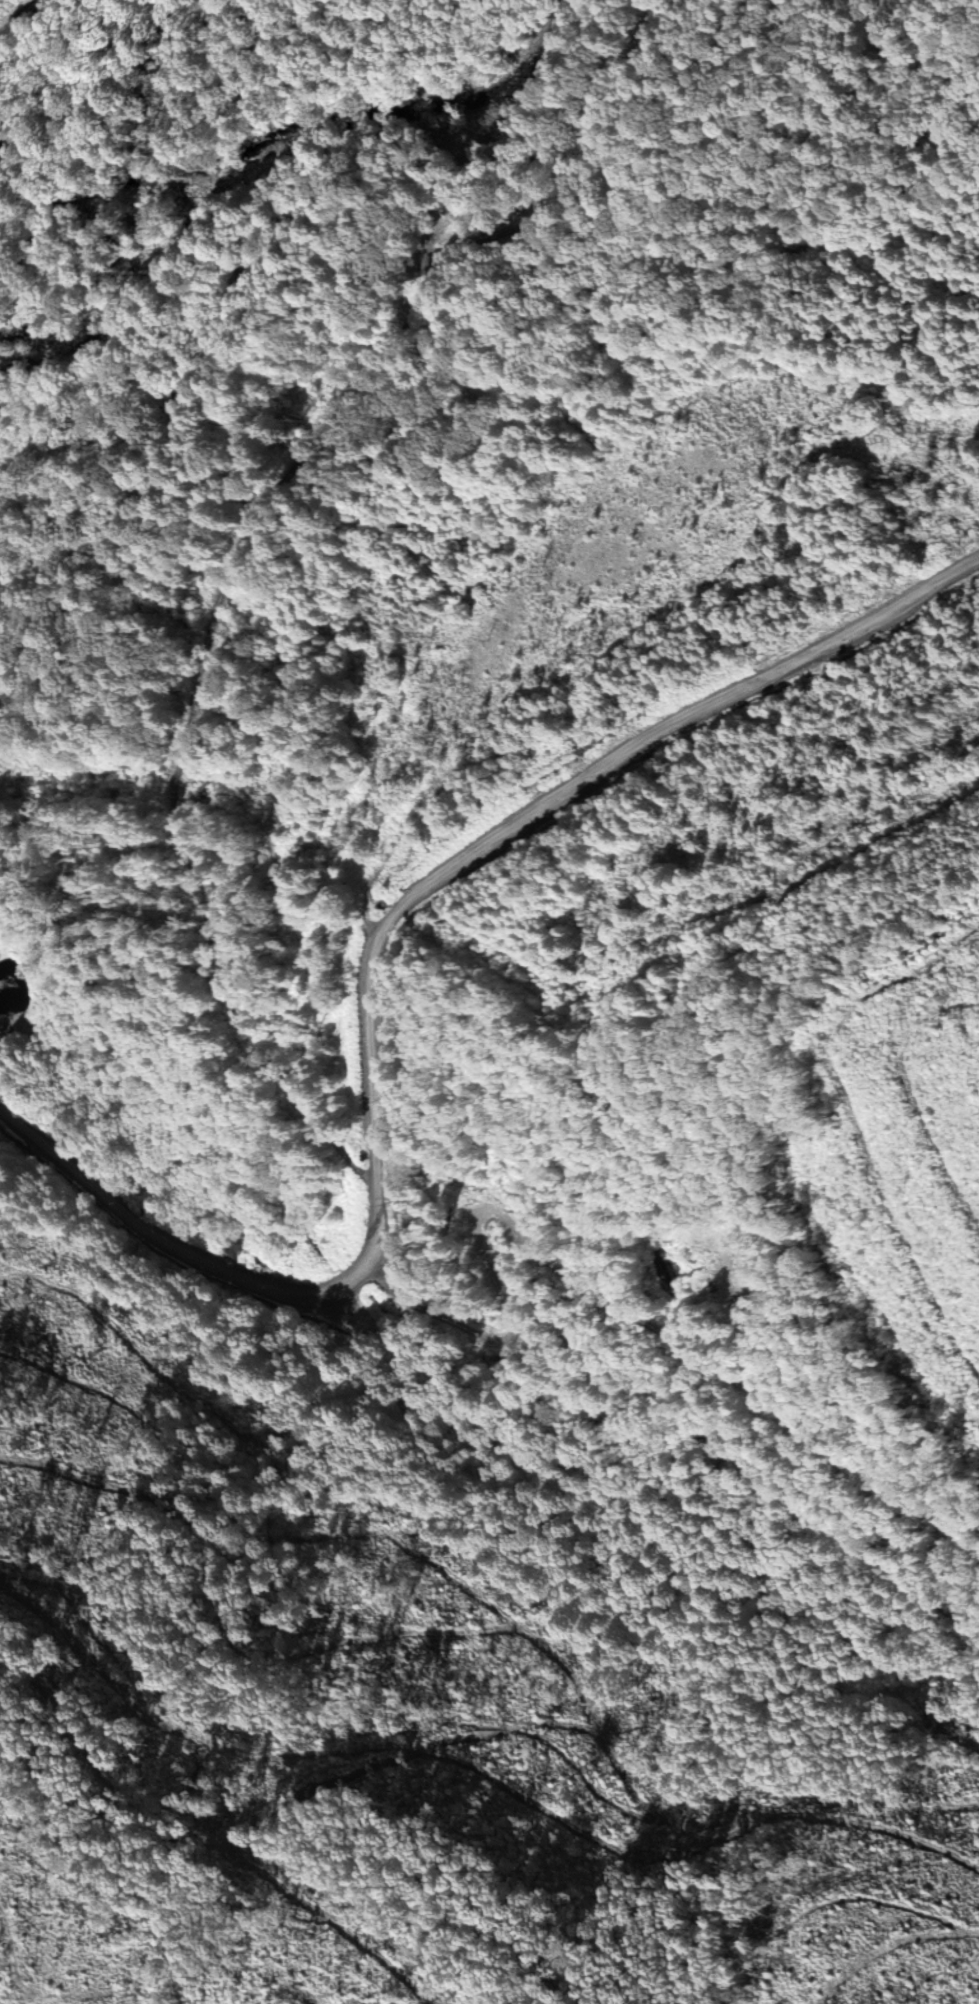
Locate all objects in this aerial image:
road: (27, 27)
road: (369, 1047)

